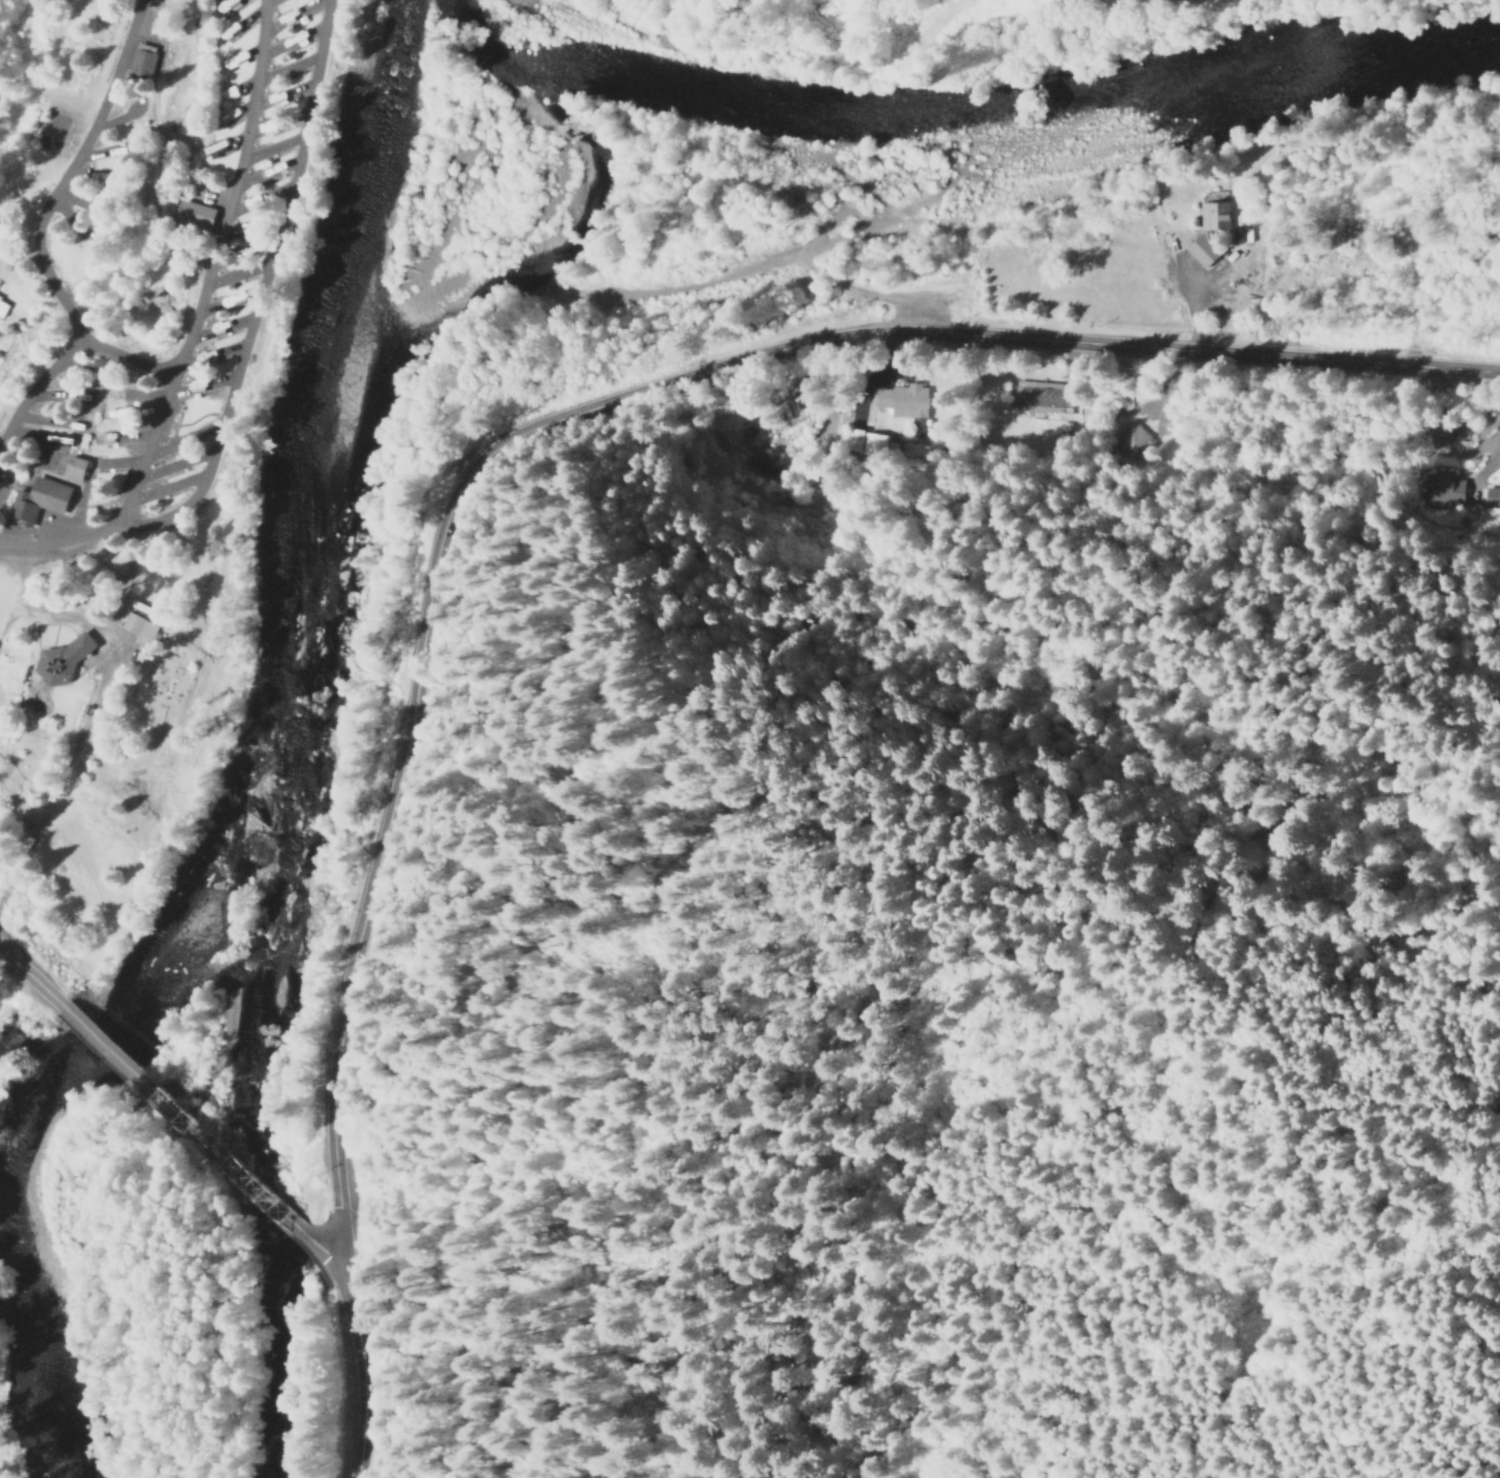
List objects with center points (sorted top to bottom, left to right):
road: (1148, 3)
building: (143, 59)
river: (970, 104)
building: (195, 212)
road: (41, 213)
building: (1238, 234)
building: (1202, 235)
road: (207, 271)
road: (258, 295)
building: (3, 306)
road: (35, 386)
building: (1040, 396)
building: (725, 434)
building: (1131, 435)
building: (866, 441)
road: (478, 456)
building: (74, 466)
building: (1449, 487)
building: (1493, 496)
building: (39, 498)
road: (55, 541)
building: (140, 626)
building: (60, 661)
river: (249, 771)
road: (31, 979)
road: (179, 1127)
road: (319, 1258)

